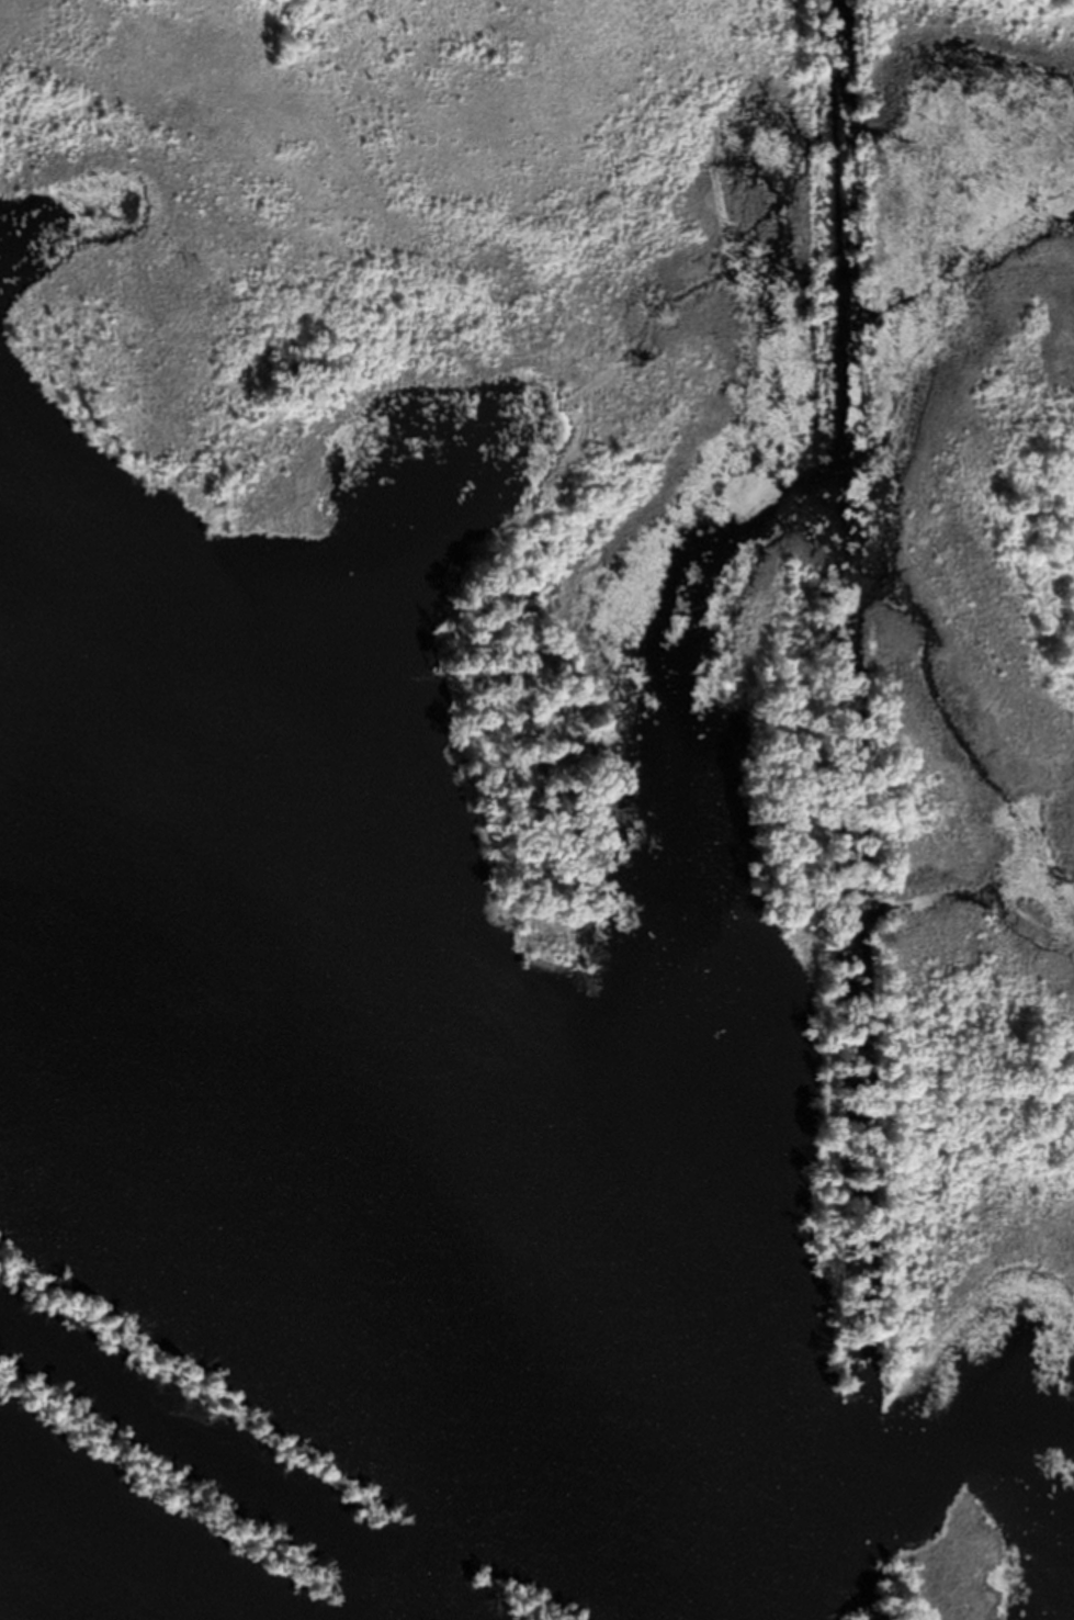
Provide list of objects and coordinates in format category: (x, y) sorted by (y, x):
river: (229, 1472)

